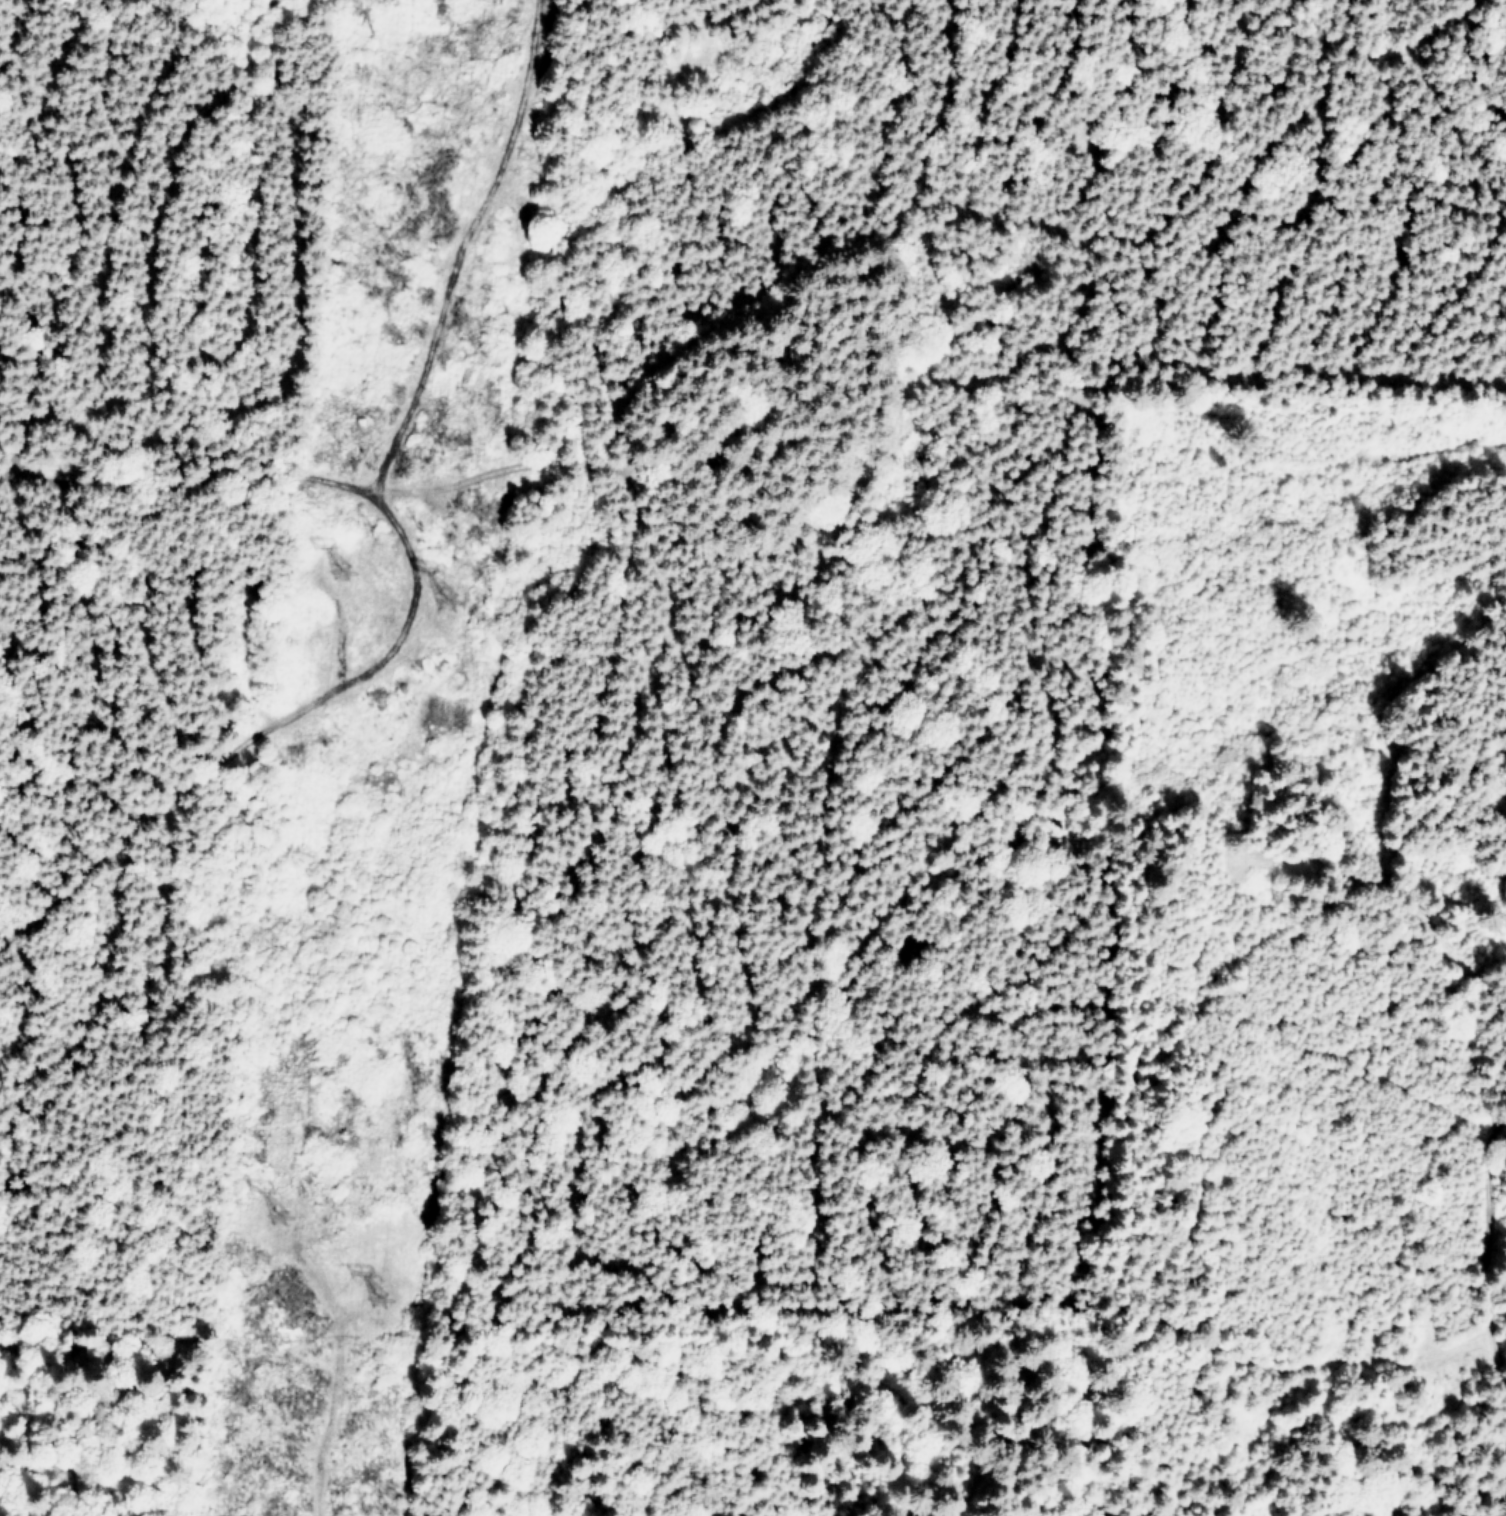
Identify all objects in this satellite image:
power tower: (336, 577)
power tower: (441, 607)
power tower: (276, 1226)
power tower: (376, 1298)

